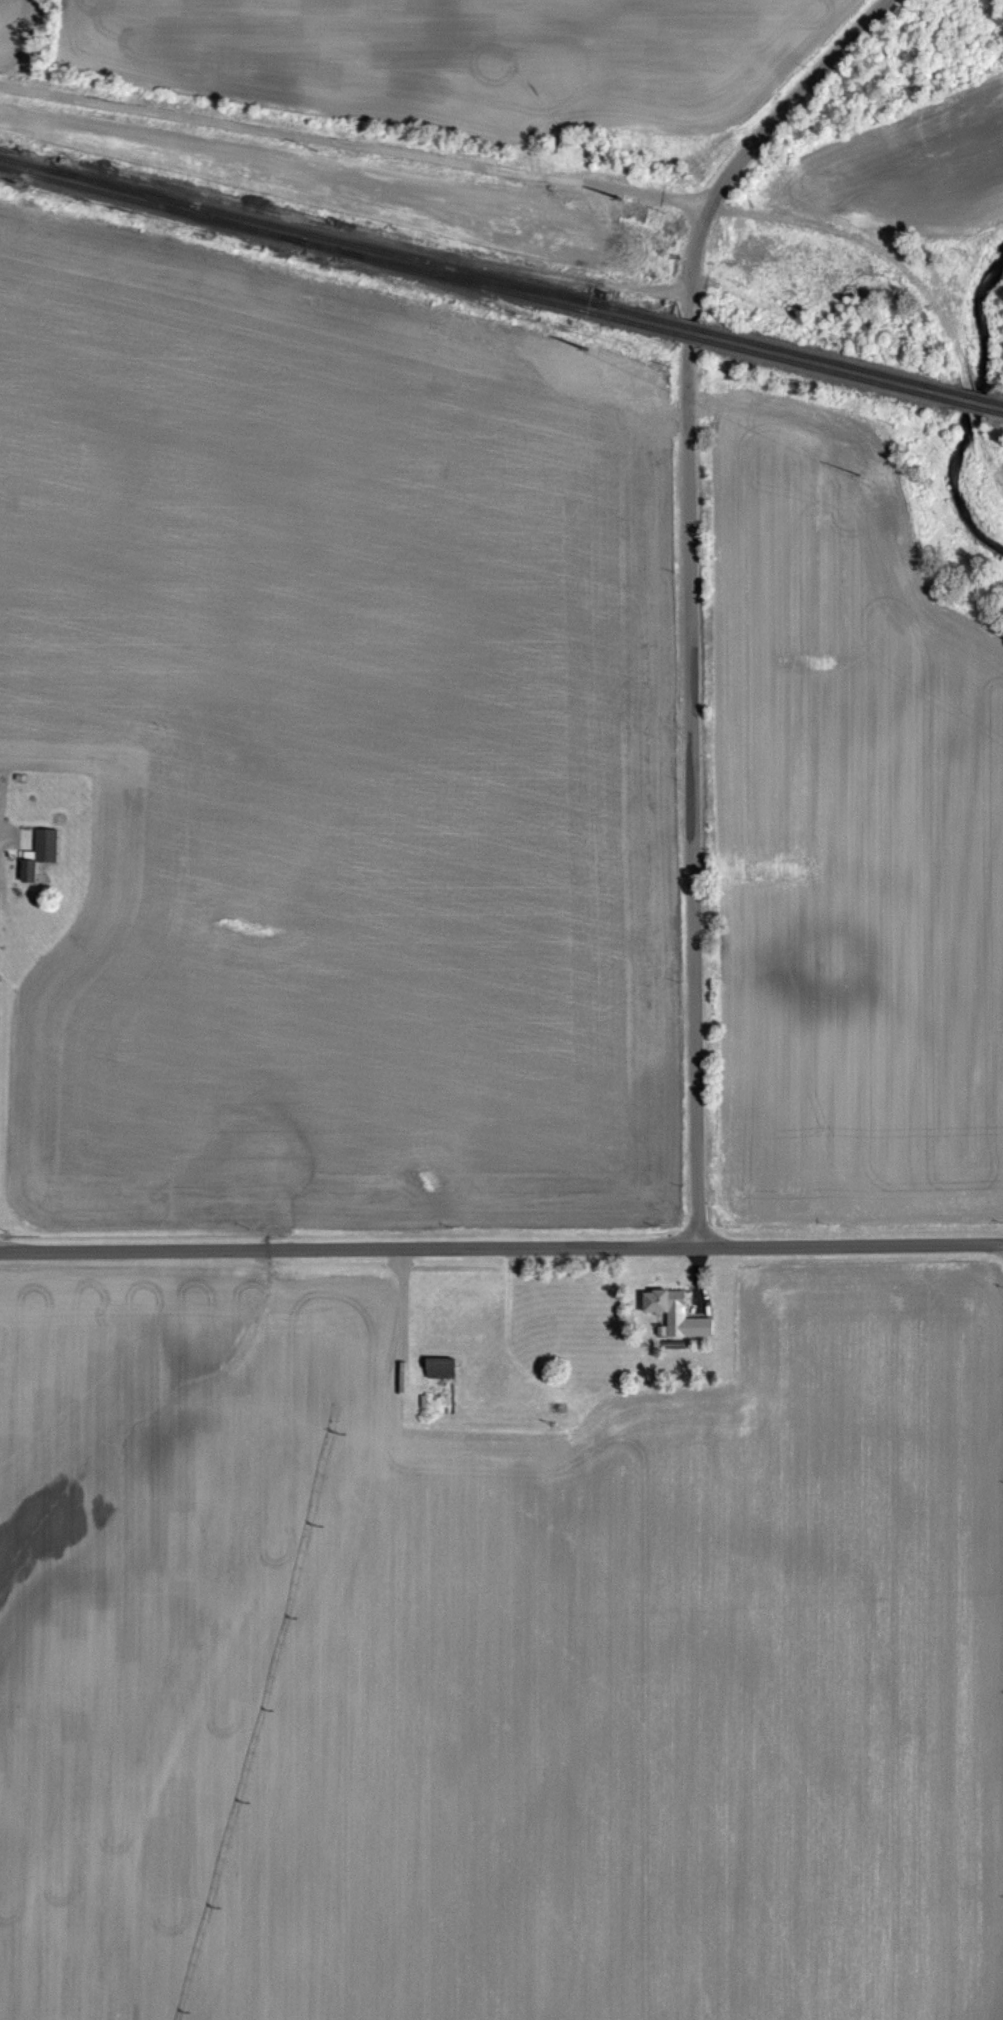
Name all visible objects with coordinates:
railway: (27, 163)
railway: (152, 203)
railway: (180, 206)
railway: (323, 237)
railway: (322, 246)
railway: (466, 277)
railway: (507, 292)
railway: (635, 314)
railway: (693, 328)
railway: (690, 337)
railway: (832, 362)
railway: (828, 371)
railway: (974, 396)
railway: (997, 402)
railway: (970, 405)
railway: (996, 411)
road: (687, 579)
building: (39, 854)
road: (501, 1230)
building: (673, 1313)
building: (438, 1366)

